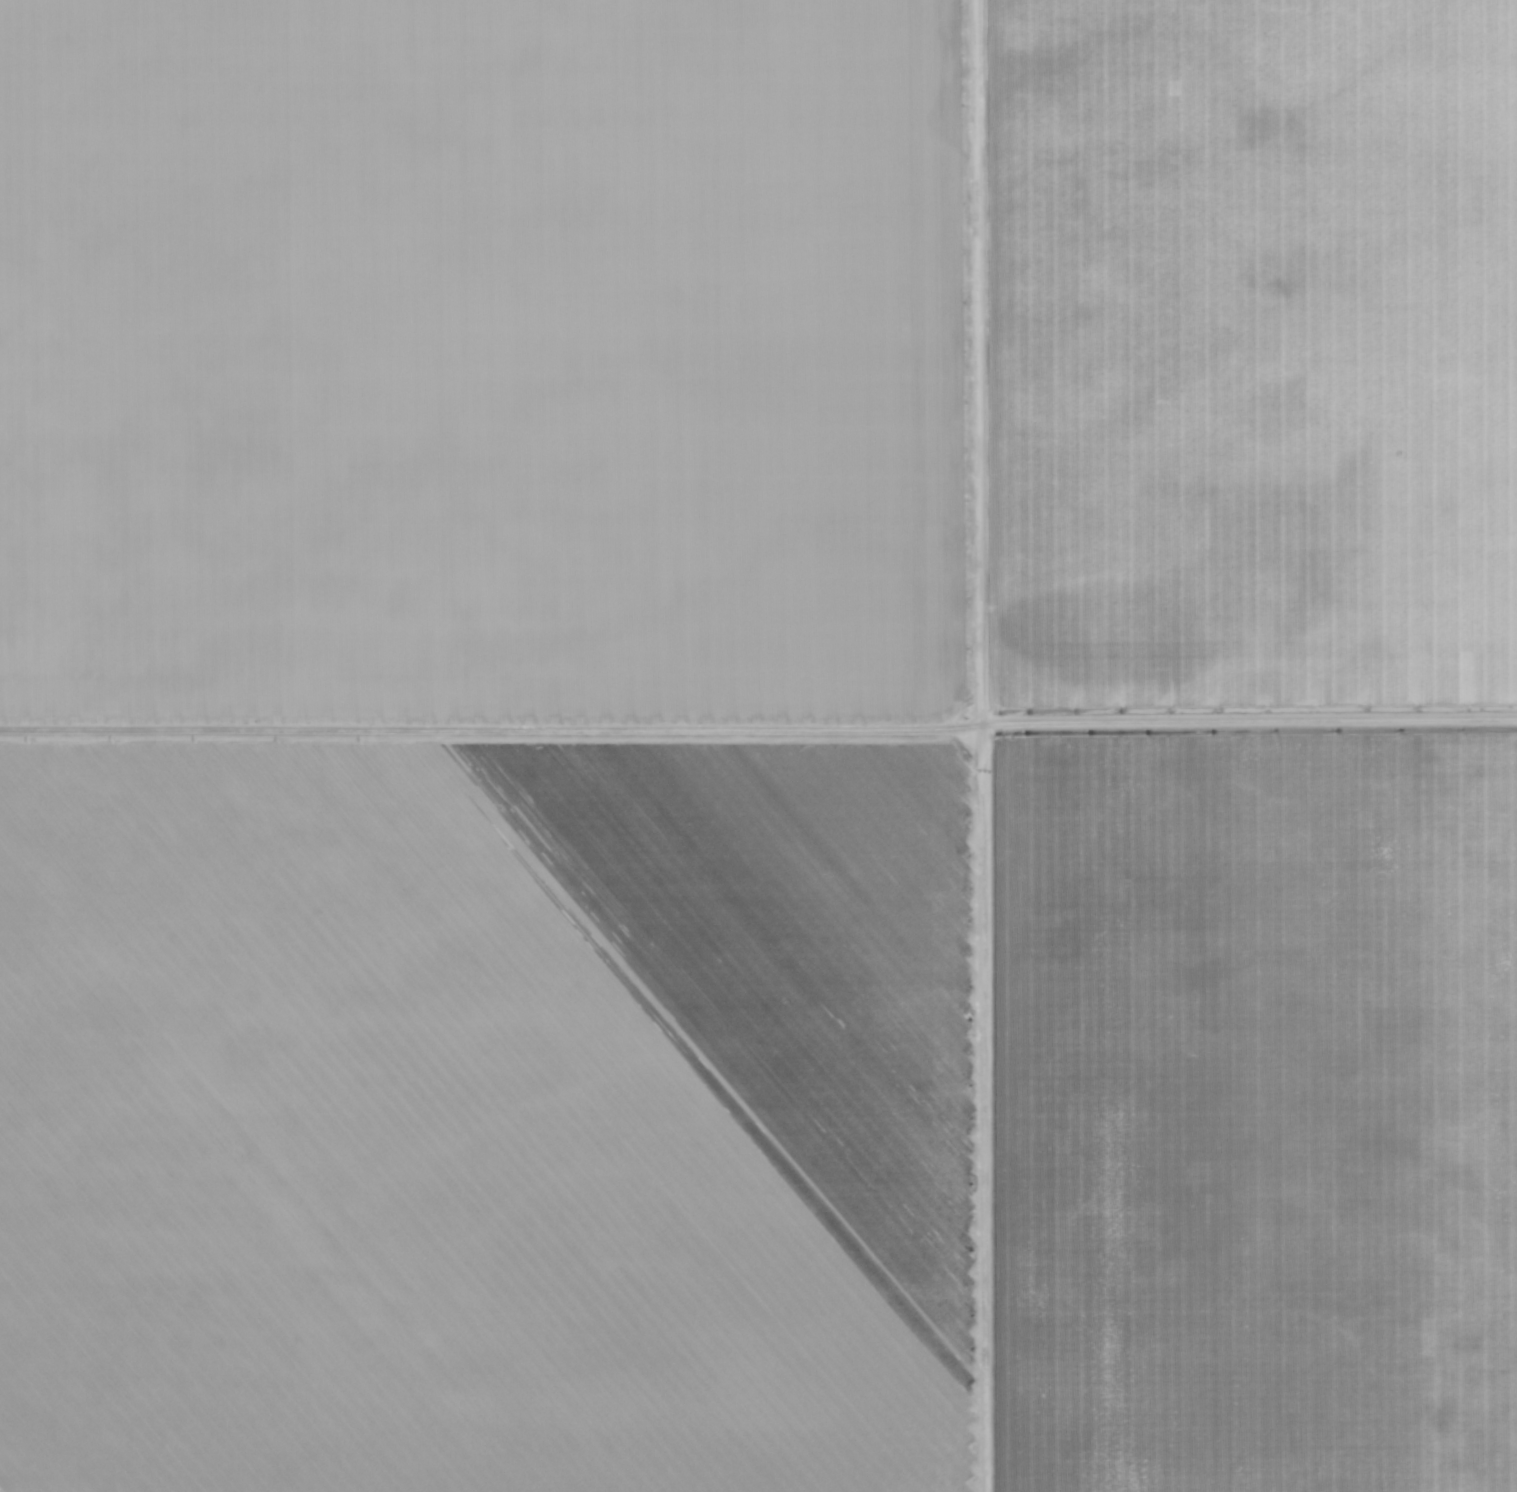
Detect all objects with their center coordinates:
road: (980, 623)
crop: (758, 746)

